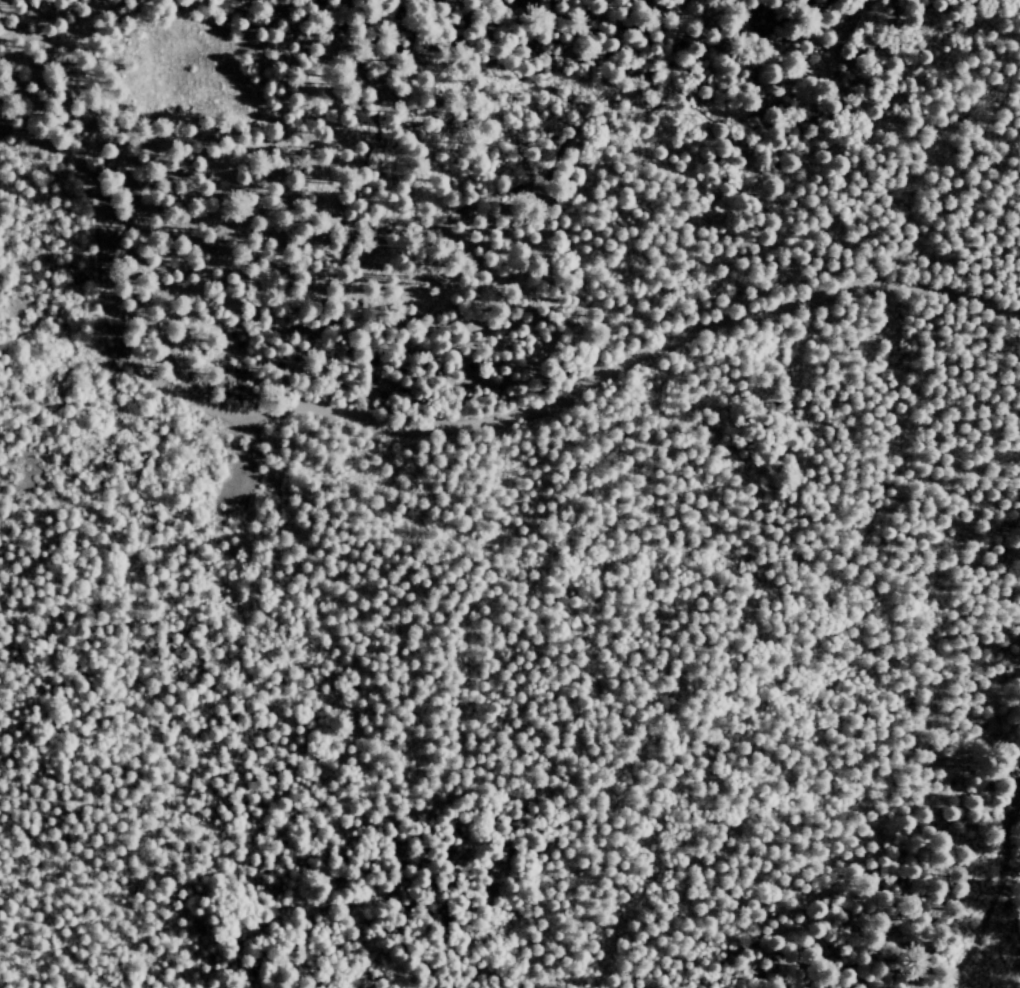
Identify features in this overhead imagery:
road: (435, 427)
road: (962, 839)

